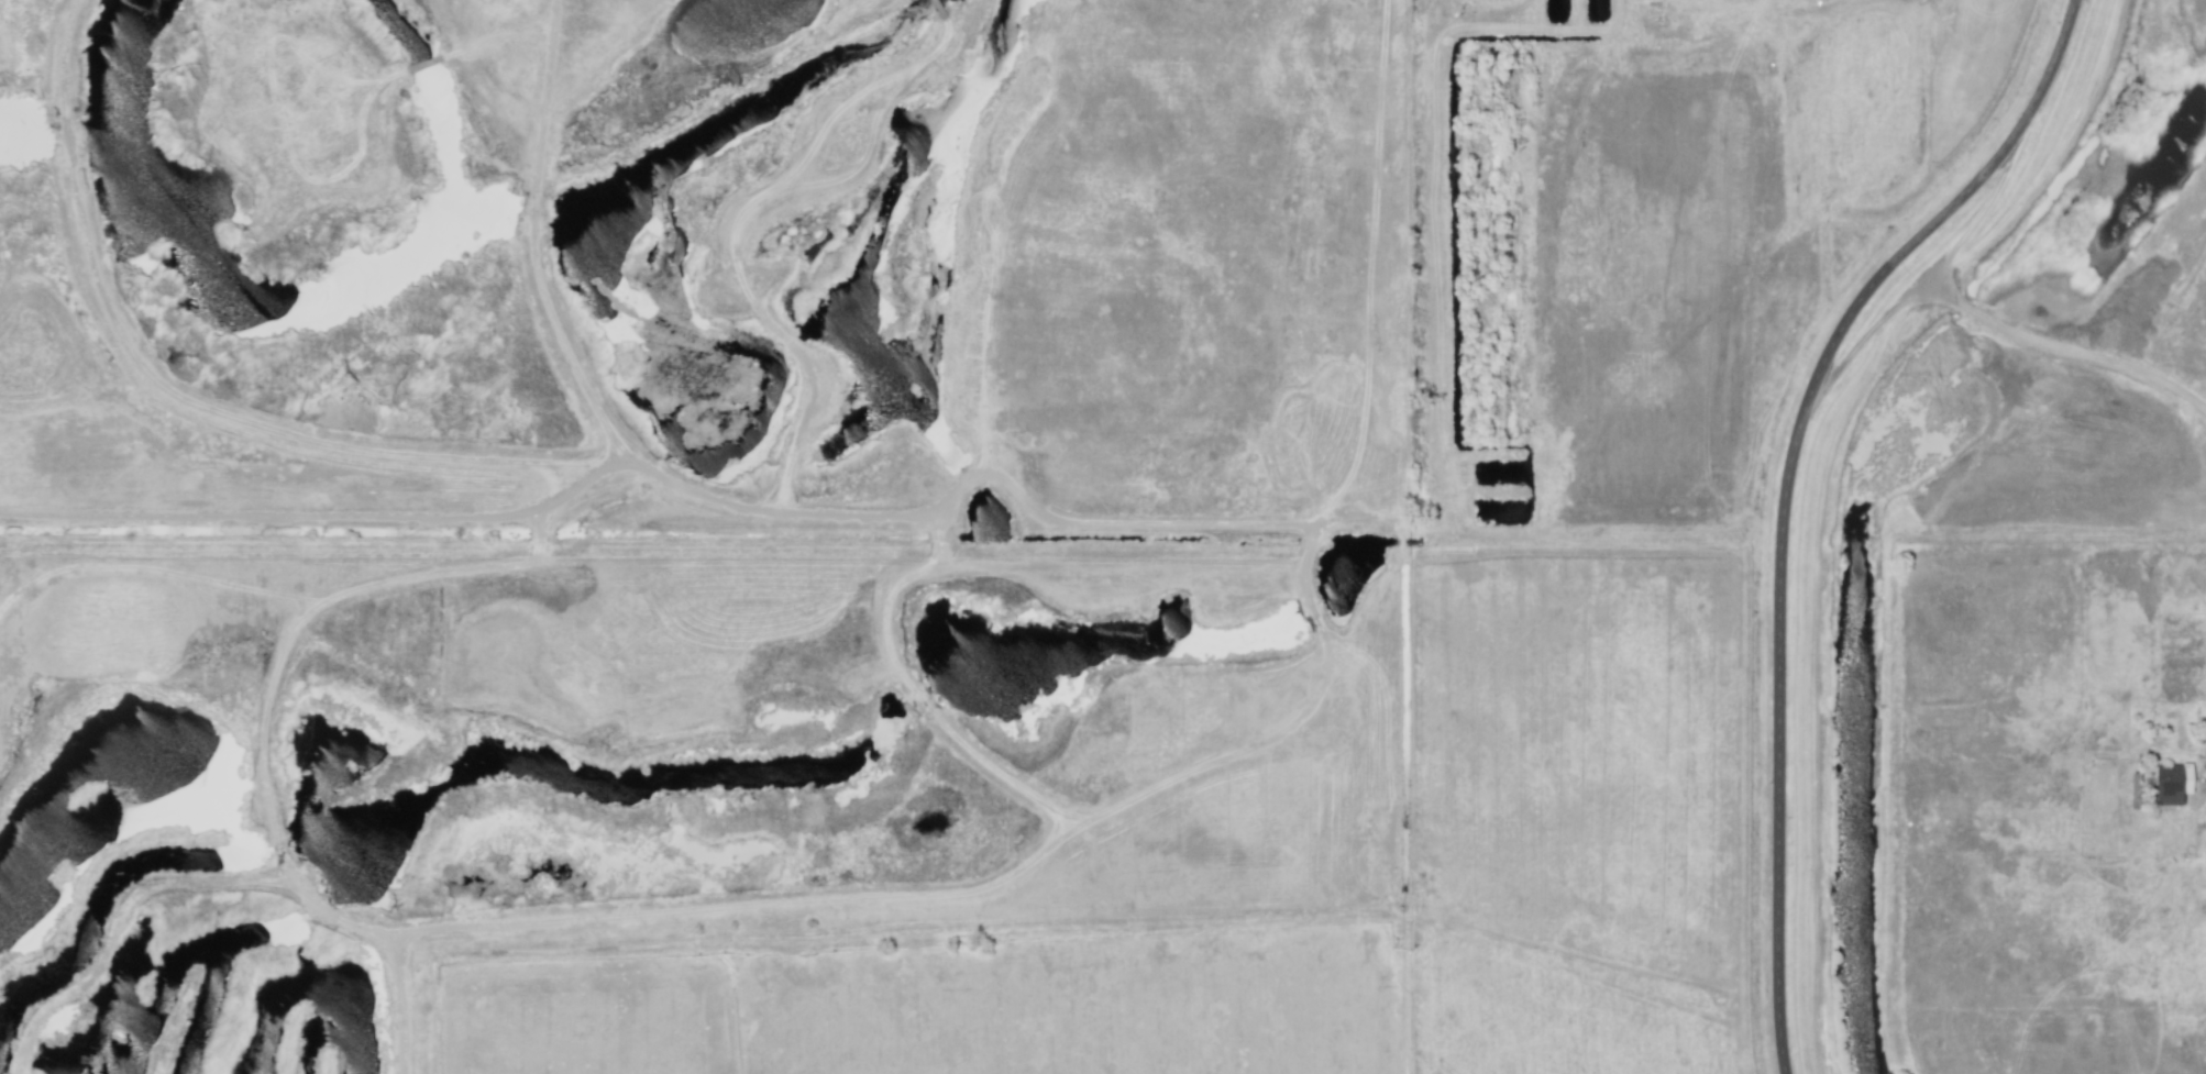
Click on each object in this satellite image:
road: (1927, 277)
road: (1938, 288)
road: (1974, 313)
road: (2106, 361)
road: (1784, 491)
building: (2172, 783)

